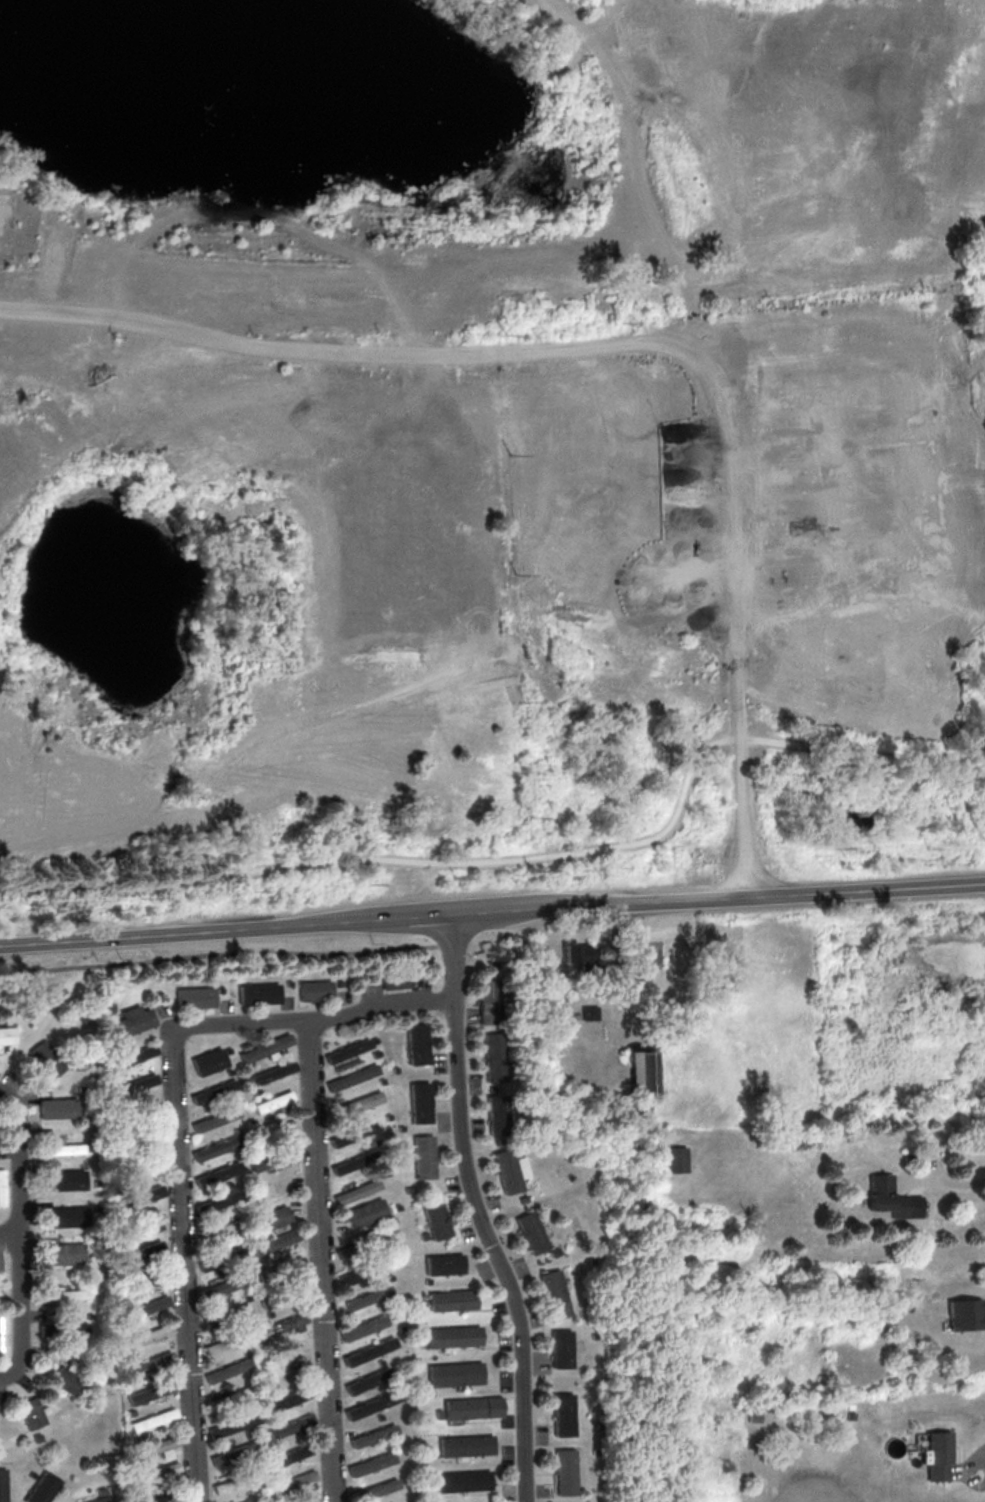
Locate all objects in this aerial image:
park: (943, 260)
road: (341, 347)
road: (711, 431)
road: (525, 859)
road: (426, 890)
road: (492, 913)
building: (578, 952)
building: (395, 982)
building: (287, 983)
building: (339, 983)
building: (219, 990)
building: (314, 990)
building: (257, 993)
building: (193, 997)
building: (488, 1001)
road: (379, 1005)
building: (105, 1007)
building: (589, 1012)
road: (236, 1017)
building: (130, 1021)
building: (7, 1035)
building: (374, 1039)
building: (415, 1043)
building: (243, 1045)
building: (264, 1048)
building: (227, 1050)
building: (346, 1050)
building: (375, 1053)
building: (128, 1057)
building: (496, 1057)
building: (46, 1058)
building: (208, 1061)
building: (394, 1070)
building: (228, 1071)
building: (270, 1072)
building: (641, 1072)
building: (351, 1077)
building: (381, 1080)
building: (132, 1085)
building: (213, 1091)
building: (256, 1091)
building: (272, 1100)
building: (418, 1103)
building: (355, 1104)
building: (57, 1108)
building: (498, 1115)
building: (386, 1116)
building: (214, 1119)
building: (400, 1127)
building: (351, 1134)
building: (59, 1148)
building: (216, 1148)
building: (272, 1157)
building: (423, 1157)
building: (675, 1159)
road: (19, 1162)
building: (354, 1163)
building: (508, 1171)
building: (217, 1174)
building: (66, 1179)
road: (950, 1180)
building: (229, 1183)
building: (1, 1187)
building: (356, 1191)
building: (139, 1196)
building: (223, 1198)
building: (891, 1198)
building: (523, 1199)
building: (396, 1206)
road: (476, 1212)
building: (366, 1213)
building: (67, 1216)
building: (273, 1217)
building: (391, 1220)
building: (436, 1221)
building: (144, 1223)
building: (225, 1228)
building: (532, 1233)
road: (9, 1235)
building: (424, 1235)
building: (276, 1241)
building: (228, 1244)
building: (363, 1245)
building: (555, 1251)
building: (143, 1252)
building: (64, 1253)
building: (221, 1257)
road: (322, 1259)
building: (443, 1263)
building: (257, 1266)
road: (183, 1267)
building: (280, 1268)
building: (364, 1271)
building: (389, 1277)
building: (147, 1278)
building: (426, 1280)
building: (221, 1287)
building: (555, 1293)
building: (62, 1294)
building: (246, 1296)
building: (280, 1296)
building: (367, 1297)
building: (453, 1299)
building: (423, 1302)
building: (144, 1307)
road: (19, 1308)
building: (268, 1313)
building: (226, 1314)
building: (966, 1314)
building: (284, 1323)
building: (363, 1327)
building: (75, 1328)
building: (402, 1328)
building: (3, 1335)
building: (145, 1335)
building: (453, 1335)
building: (595, 1335)
building: (226, 1341)
building: (421, 1342)
building: (562, 1348)
building: (244, 1351)
building: (369, 1351)
building: (130, 1355)
building: (149, 1363)
building: (380, 1363)
building: (227, 1369)
building: (455, 1374)
road: (1, 1375)
building: (368, 1379)
building: (65, 1380)
building: (150, 1392)
building: (428, 1392)
building: (233, 1396)
building: (286, 1399)
building: (371, 1405)
building: (473, 1407)
building: (31, 1412)
building: (130, 1412)
building: (439, 1413)
building: (564, 1414)
building: (379, 1416)
building: (152, 1419)
building: (232, 1424)
building: (290, 1426)
building: (373, 1435)
building: (139, 1440)
building: (466, 1444)
building: (154, 1447)
building: (433, 1452)
building: (165, 1453)
building: (235, 1453)
building: (294, 1454)
building: (937, 1455)
road: (980, 1460)
building: (371, 1463)
building: (565, 1471)
building: (154, 1472)
building: (235, 1480)
building: (463, 1480)
building: (292, 1482)
building: (2, 1485)
building: (43, 1488)
building: (378, 1488)
building: (167, 1496)
building: (100, 1499)
building: (252, 1499)
building: (308, 1500)
building: (224, 1501)

